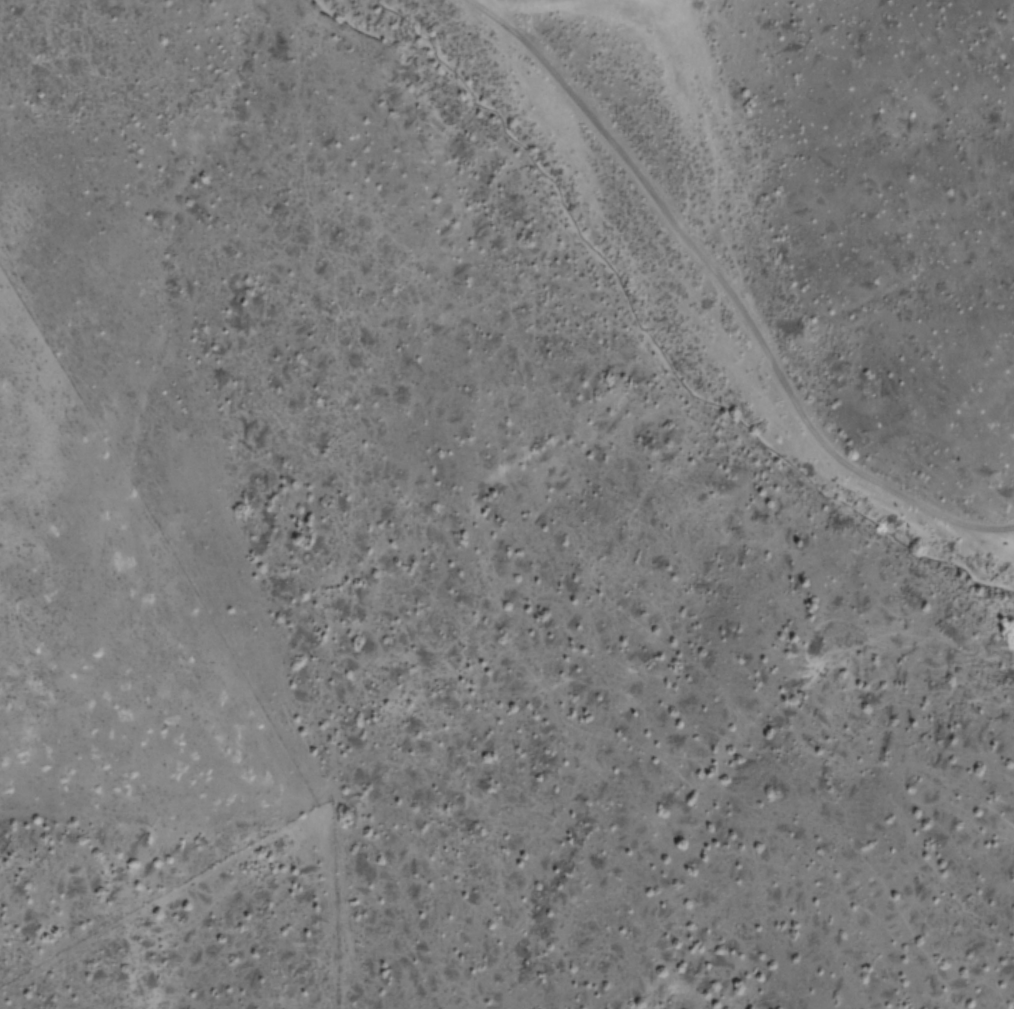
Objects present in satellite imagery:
road: (744, 321)
road: (998, 545)

